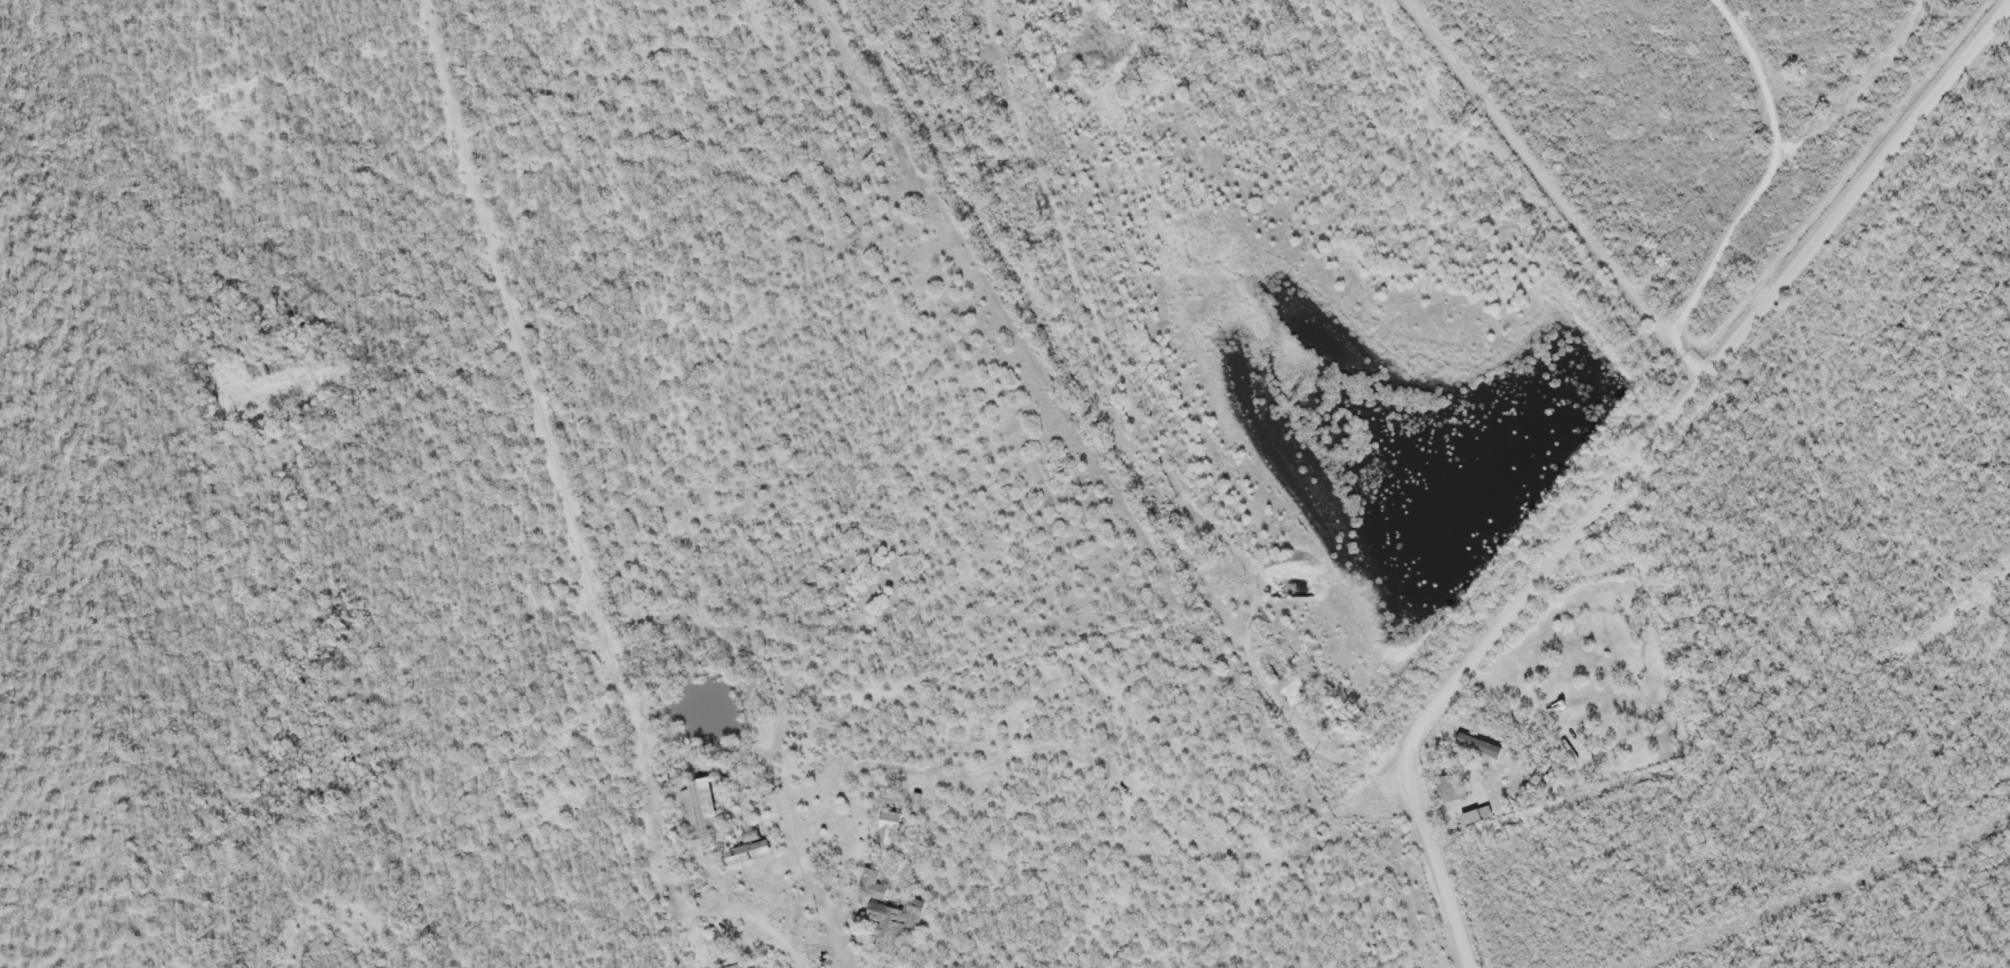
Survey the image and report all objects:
road: (1535, 173)
road: (1768, 175)
road: (1683, 360)
road: (1661, 420)
building: (1214, 582)
road: (1270, 688)
building: (1290, 694)
building: (1475, 750)
road: (1363, 772)
road: (890, 790)
building: (1449, 790)
building: (697, 812)
building: (887, 831)
building: (867, 885)
building: (882, 913)
road: (1445, 917)

